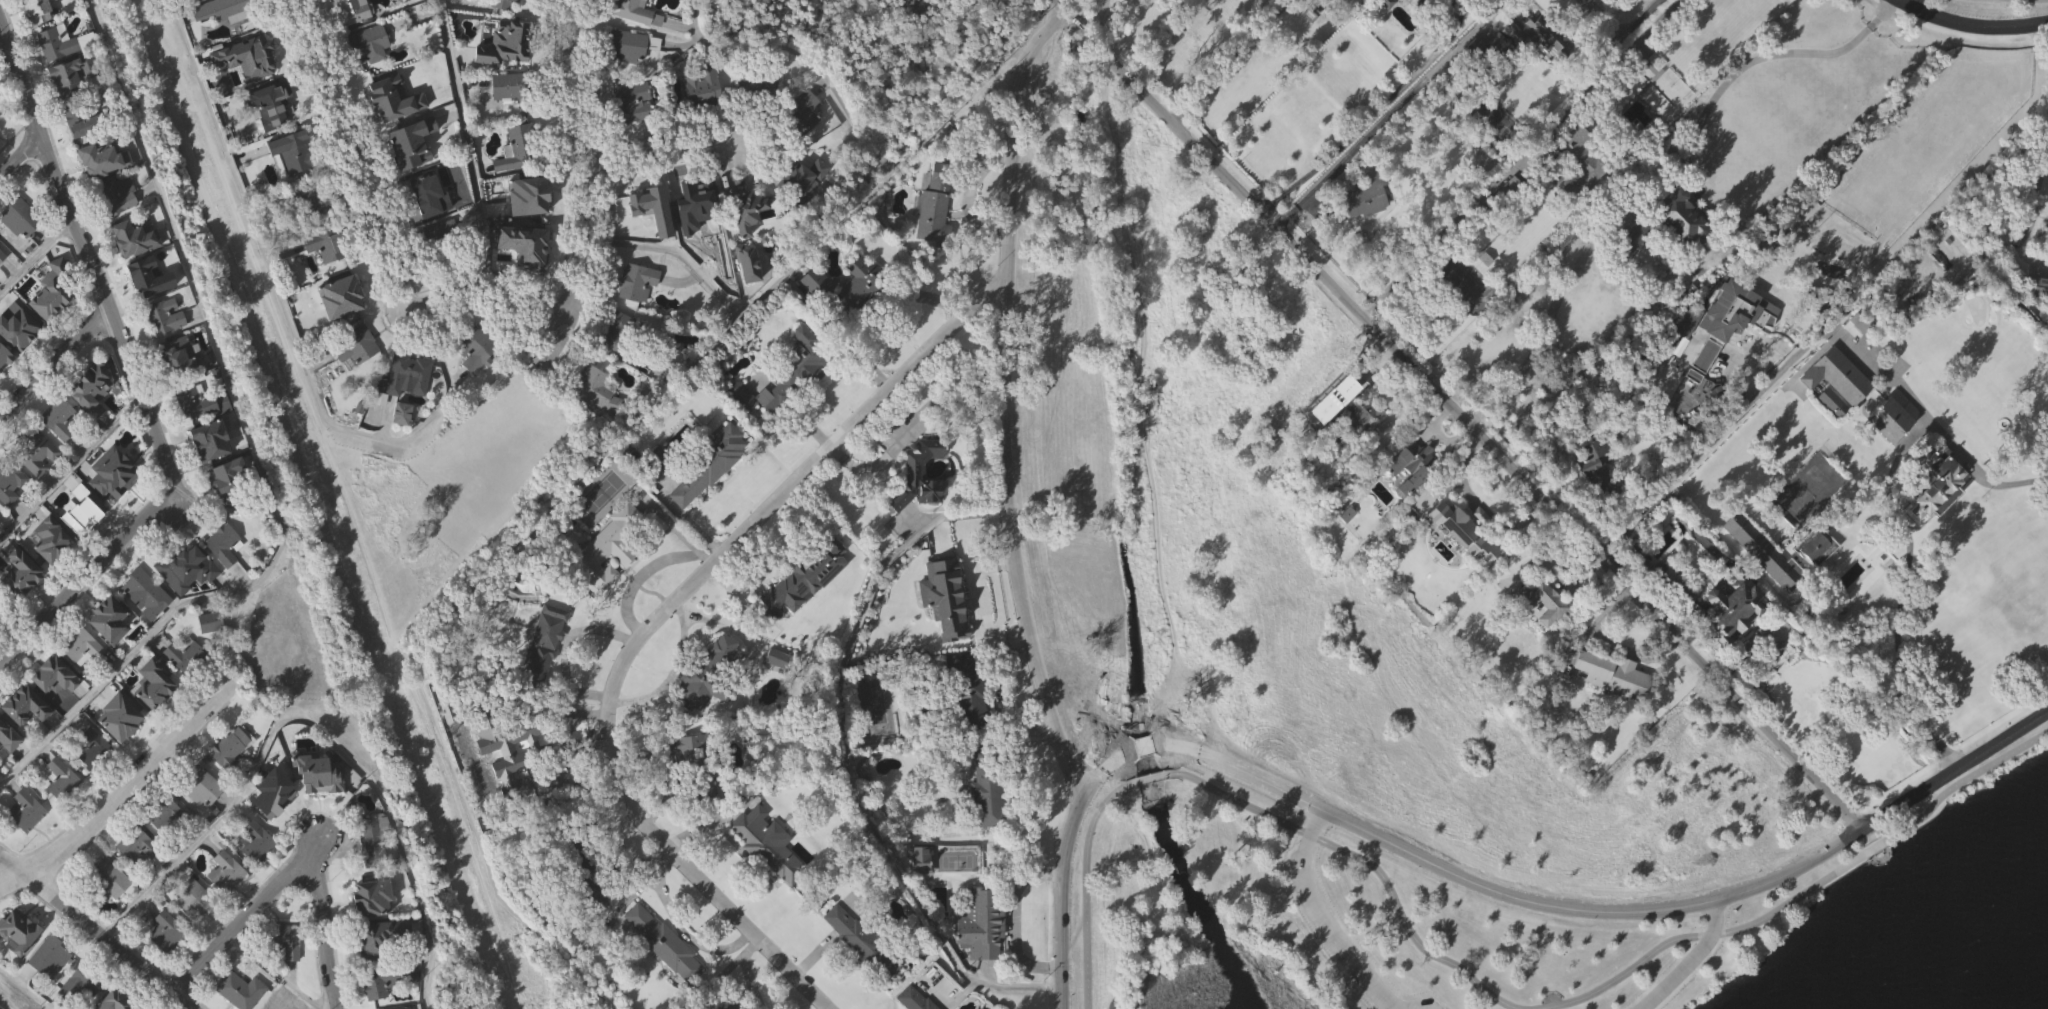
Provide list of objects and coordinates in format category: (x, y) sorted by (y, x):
building: (661, 3)
building: (228, 4)
building: (340, 4)
building: (1379, 4)
building: (1434, 4)
building: (1487, 6)
park: (1988, 8)
building: (34, 9)
building: (635, 12)
building: (512, 17)
road: (1090, 24)
road: (1970, 25)
building: (358, 29)
building: (1387, 29)
building: (44, 31)
building: (632, 31)
road: (1618, 32)
building: (1550, 37)
building: (235, 39)
road: (2, 41)
building: (57, 44)
road: (1160, 46)
road: (807, 54)
road: (1744, 62)
road: (1224, 66)
building: (1524, 71)
building: (512, 72)
building: (66, 74)
building: (628, 75)
building: (372, 77)
building: (250, 84)
building: (1, 103)
building: (72, 105)
building: (0, 113)
building: (510, 116)
building: (704, 116)
building: (758, 116)
road: (1382, 120)
building: (85, 123)
building: (393, 127)
building: (269, 130)
building: (633, 133)
building: (1, 142)
building: (805, 143)
building: (82, 152)
road: (20, 159)
building: (1543, 160)
road: (472, 161)
building: (1579, 161)
building: (99, 164)
road: (663, 166)
building: (523, 175)
building: (413, 178)
building: (295, 183)
building: (103, 188)
building: (1507, 191)
road: (2034, 193)
road: (588, 196)
building: (1363, 197)
building: (118, 198)
building: (686, 198)
building: (806, 201)
building: (645, 204)
building: (933, 206)
building: (743, 212)
building: (19, 216)
building: (1677, 217)
building: (1367, 227)
building: (530, 228)
building: (430, 229)
building: (690, 229)
building: (309, 230)
road: (1438, 234)
building: (1637, 235)
building: (934, 236)
building: (130, 238)
building: (653, 240)
road: (368, 247)
building: (1683, 247)
building: (21, 249)
building: (1804, 249)
road: (677, 252)
road: (35, 254)
building: (2, 256)
building: (438, 261)
building: (744, 264)
building: (1637, 267)
building: (136, 269)
building: (528, 275)
building: (327, 277)
building: (147, 281)
building: (635, 282)
building: (2, 286)
building: (442, 288)
building: (847, 288)
building: (50, 291)
building: (2039, 291)
building: (748, 295)
building: (1822, 301)
road: (1552, 309)
building: (638, 313)
building: (817, 315)
building: (1725, 315)
building: (161, 316)
building: (858, 317)
building: (1860, 319)
building: (2040, 320)
building: (52, 322)
building: (342, 324)
building: (17, 327)
road: (284, 336)
building: (618, 336)
road: (852, 350)
building: (1724, 351)
building: (1862, 356)
building: (4, 358)
building: (176, 358)
road: (53, 361)
building: (618, 363)
building: (1645, 364)
building: (473, 372)
road: (1885, 372)
road: (134, 374)
building: (787, 376)
building: (1838, 376)
building: (352, 379)
building: (5, 387)
building: (88, 387)
building: (181, 387)
building: (595, 388)
building: (1336, 390)
building: (198, 402)
building: (1831, 402)
road: (1448, 404)
building: (405, 407)
building: (784, 407)
road: (1000, 410)
building: (1357, 415)
building: (58, 417)
building: (1891, 418)
building: (597, 419)
building: (93, 420)
building: (1338, 421)
road: (1713, 435)
building: (1834, 436)
building: (208, 441)
building: (402, 443)
building: (1363, 446)
building: (31, 449)
building: (62, 449)
road: (254, 450)
building: (1889, 454)
building: (658, 458)
building: (709, 463)
building: (1408, 465)
building: (1598, 466)
road: (70, 467)
building: (221, 474)
building: (918, 474)
building: (110, 479)
building: (9, 480)
building: (1935, 481)
building: (38, 484)
road: (564, 490)
building: (661, 490)
building: (1413, 496)
building: (709, 498)
building: (1601, 503)
building: (114, 504)
road: (315, 504)
building: (920, 506)
building: (230, 507)
building: (83, 511)
building: (10, 512)
building: (1934, 514)
road: (1901, 522)
park: (335, 534)
building: (1469, 537)
building: (81, 541)
building: (222, 543)
building: (1817, 544)
building: (1347, 545)
building: (609, 546)
building: (1763, 550)
building: (1466, 564)
building: (184, 568)
building: (50, 569)
building: (20, 574)
building: (224, 575)
building: (608, 579)
building: (1817, 579)
building: (1764, 583)
building: (143, 588)
building: (1708, 595)
building: (777, 596)
building: (187, 599)
building: (950, 602)
building: (1541, 602)
building: (22, 603)
building: (806, 609)
building: (0, 612)
building: (108, 619)
road: (656, 619)
building: (208, 621)
building: (146, 624)
building: (543, 640)
building: (0, 642)
building: (1734, 643)
building: (79, 646)
building: (110, 650)
building: (211, 652)
building: (185, 656)
road: (672, 671)
building: (545, 672)
building: (706, 674)
building: (1614, 674)
building: (50, 677)
building: (83, 677)
building: (148, 681)
building: (185, 685)
park: (1386, 692)
building: (963, 695)
building: (22, 704)
building: (56, 706)
building: (709, 706)
building: (1619, 706)
building: (154, 715)
building: (123, 716)
road: (312, 727)
building: (5, 736)
road: (1153, 745)
building: (94, 747)
building: (121, 747)
building: (227, 749)
building: (513, 752)
road: (843, 761)
building: (692, 762)
building: (8, 767)
building: (317, 777)
building: (60, 778)
building: (95, 779)
building: (230, 779)
building: (688, 780)
road: (1150, 780)
road: (128, 782)
building: (198, 786)
building: (987, 786)
building: (274, 793)
building: (320, 806)
building: (62, 808)
building: (23, 809)
building: (164, 812)
building: (203, 818)
building: (274, 824)
building: (988, 827)
building: (371, 837)
building: (29, 841)
building: (254, 841)
building: (165, 844)
building: (765, 844)
building: (134, 846)
building: (578, 863)
road: (1368, 863)
building: (373, 869)
road: (285, 870)
road: (1064, 870)
building: (224, 871)
building: (258, 872)
building: (768, 874)
building: (138, 878)
road: (11, 879)
building: (109, 880)
road: (1087, 889)
road: (1803, 892)
building: (364, 893)
building: (190, 899)
building: (226, 902)
building: (110, 909)
road: (1622, 911)
road: (1322, 919)
building: (980, 923)
building: (17, 927)
building: (193, 928)
building: (162, 930)
road: (95, 932)
building: (283, 939)
building: (372, 939)
building: (859, 942)
building: (663, 944)
building: (981, 955)
building: (45, 959)
road: (1692, 961)
building: (19, 962)
building: (167, 962)
building: (287, 970)
building: (861, 971)
building: (664, 972)
building: (376, 981)
building: (78, 983)
road: (23, 989)
building: (238, 990)
building: (914, 999)
building: (119, 1000)
building: (275, 1003)
building: (720, 1003)
building: (384, 1004)
parking lot: (1427, 1004)
building: (230, 1005)
building: (255, 1007)

